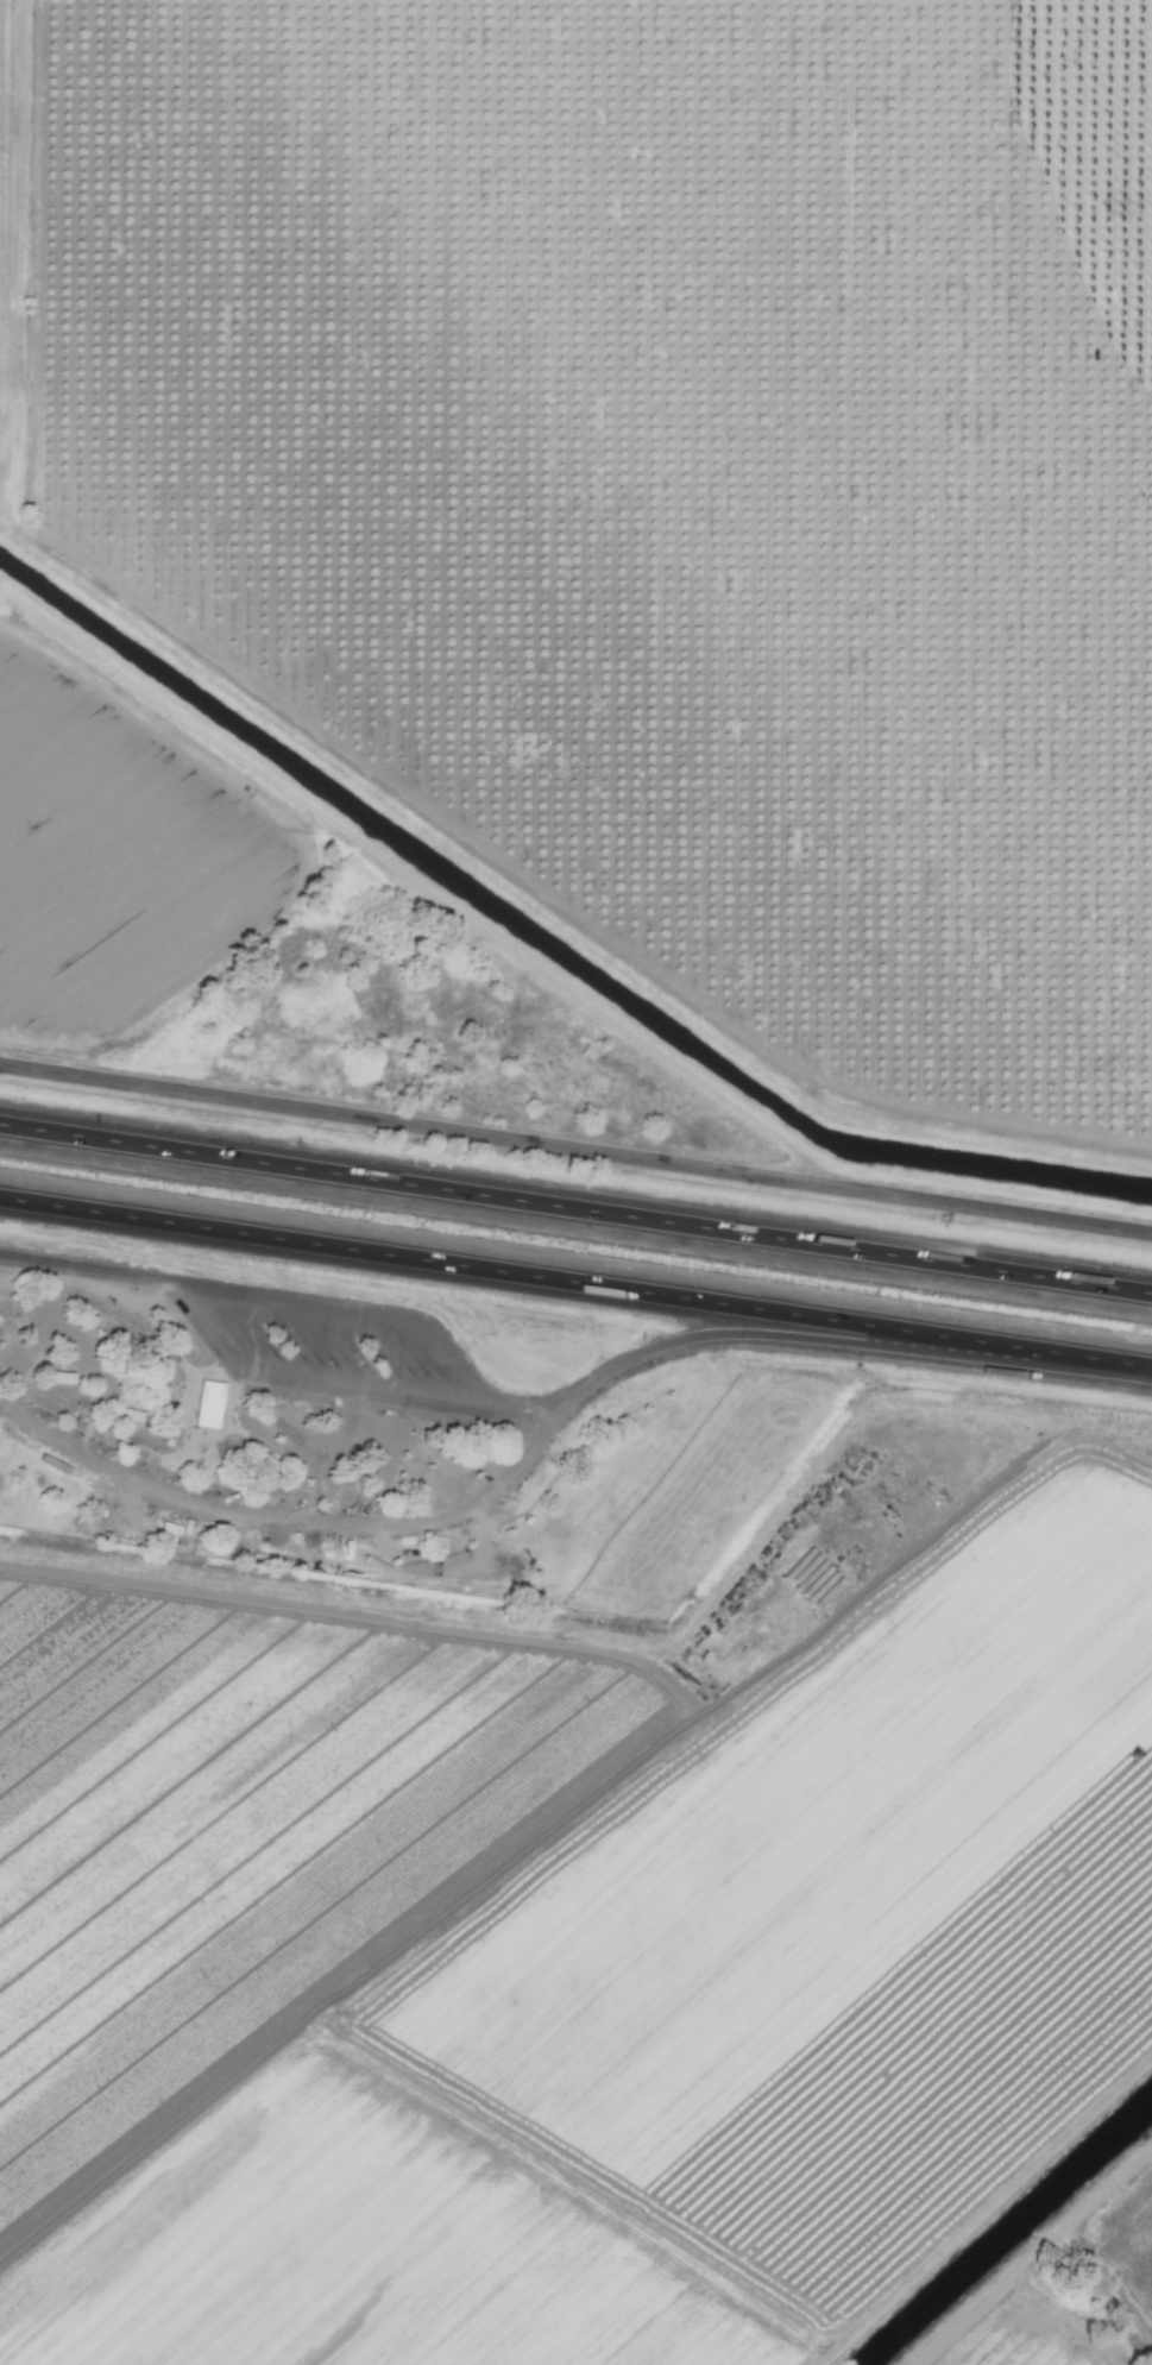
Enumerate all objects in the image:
road: (575, 1150)
road: (575, 1207)
road: (575, 1282)
road: (315, 1300)
road: (794, 1339)
road: (316, 1380)
building: (206, 1403)
road: (105, 1467)
road: (430, 1521)
crop: (1034, 2338)

